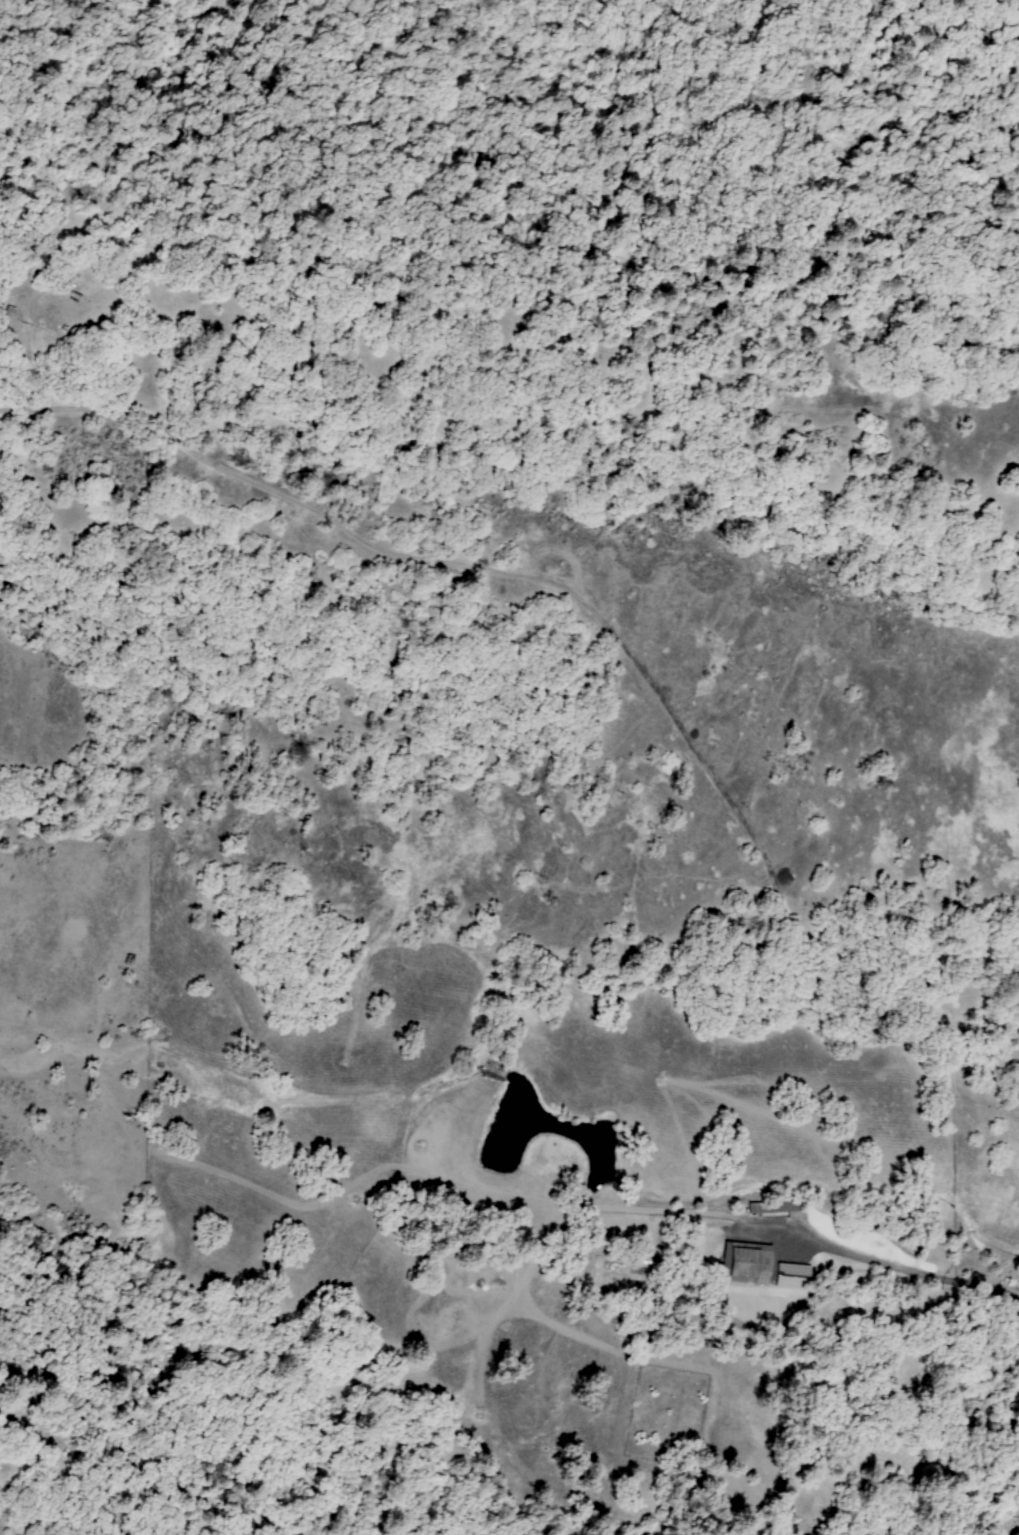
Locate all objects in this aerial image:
building: (779, 1210)
building: (749, 1261)

